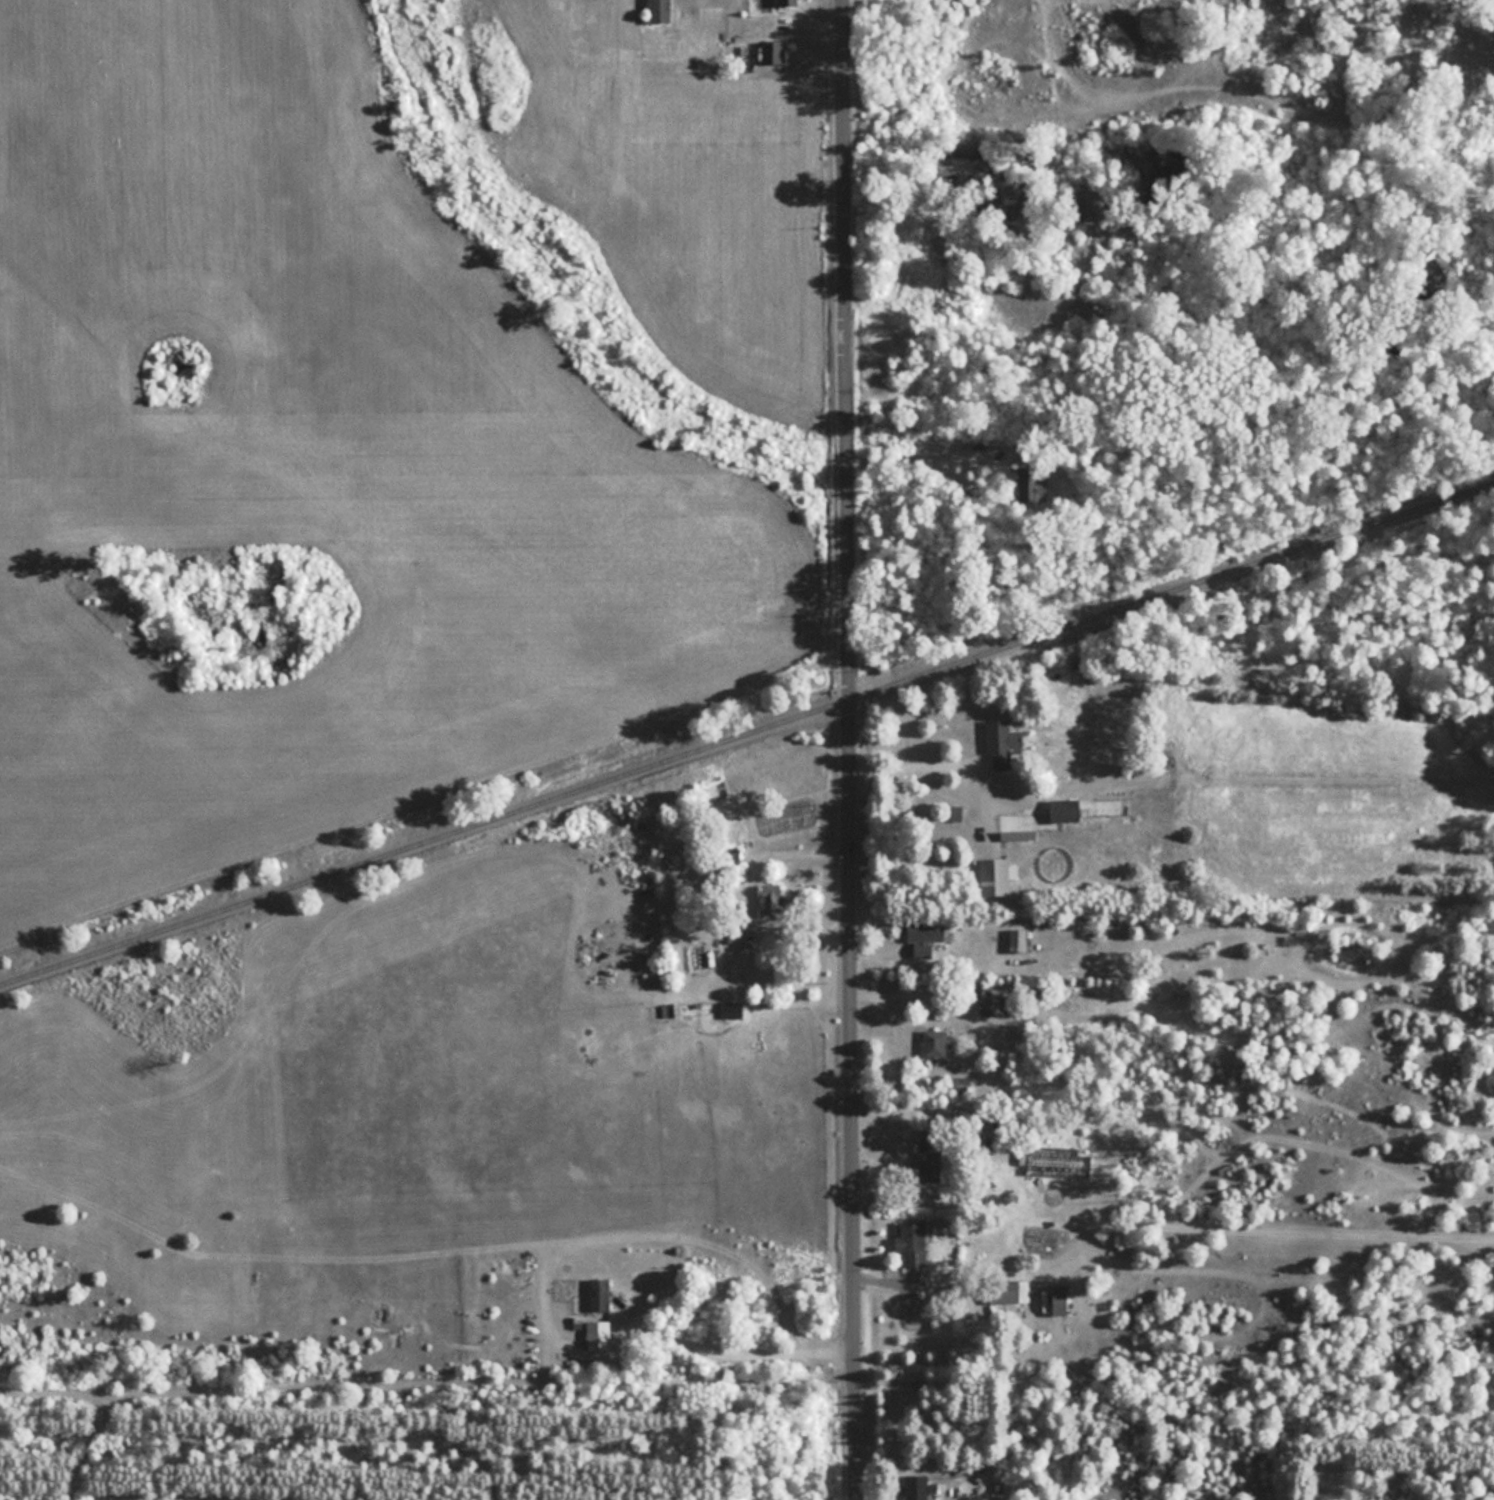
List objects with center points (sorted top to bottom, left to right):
building: (788, 2)
building: (772, 51)
road: (930, 458)
building: (1031, 474)
railway: (745, 733)
building: (1004, 744)
road: (846, 749)
road: (912, 765)
building: (1065, 810)
building: (996, 876)
building: (770, 898)
building: (925, 935)
building: (994, 1002)
building: (671, 1009)
building: (731, 1010)
building: (935, 1042)
building: (931, 1153)
building: (913, 1241)
building: (1010, 1290)
building: (599, 1292)
building: (1061, 1298)
road: (427, 1388)
building: (916, 1486)

